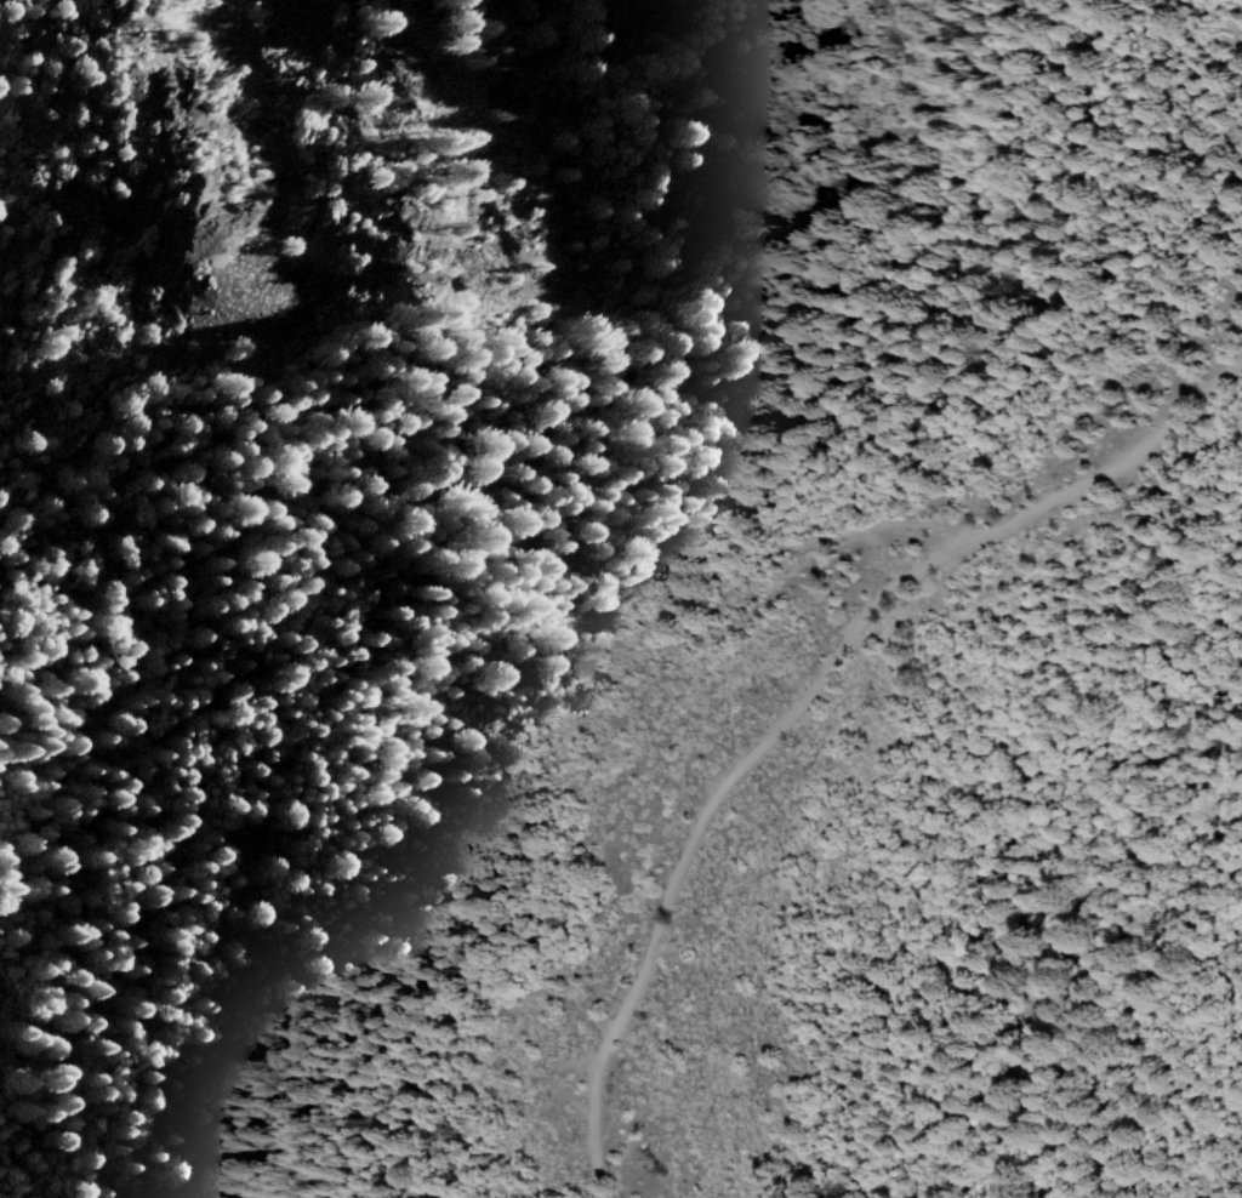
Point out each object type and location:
road: (296, 620)
road: (814, 711)

